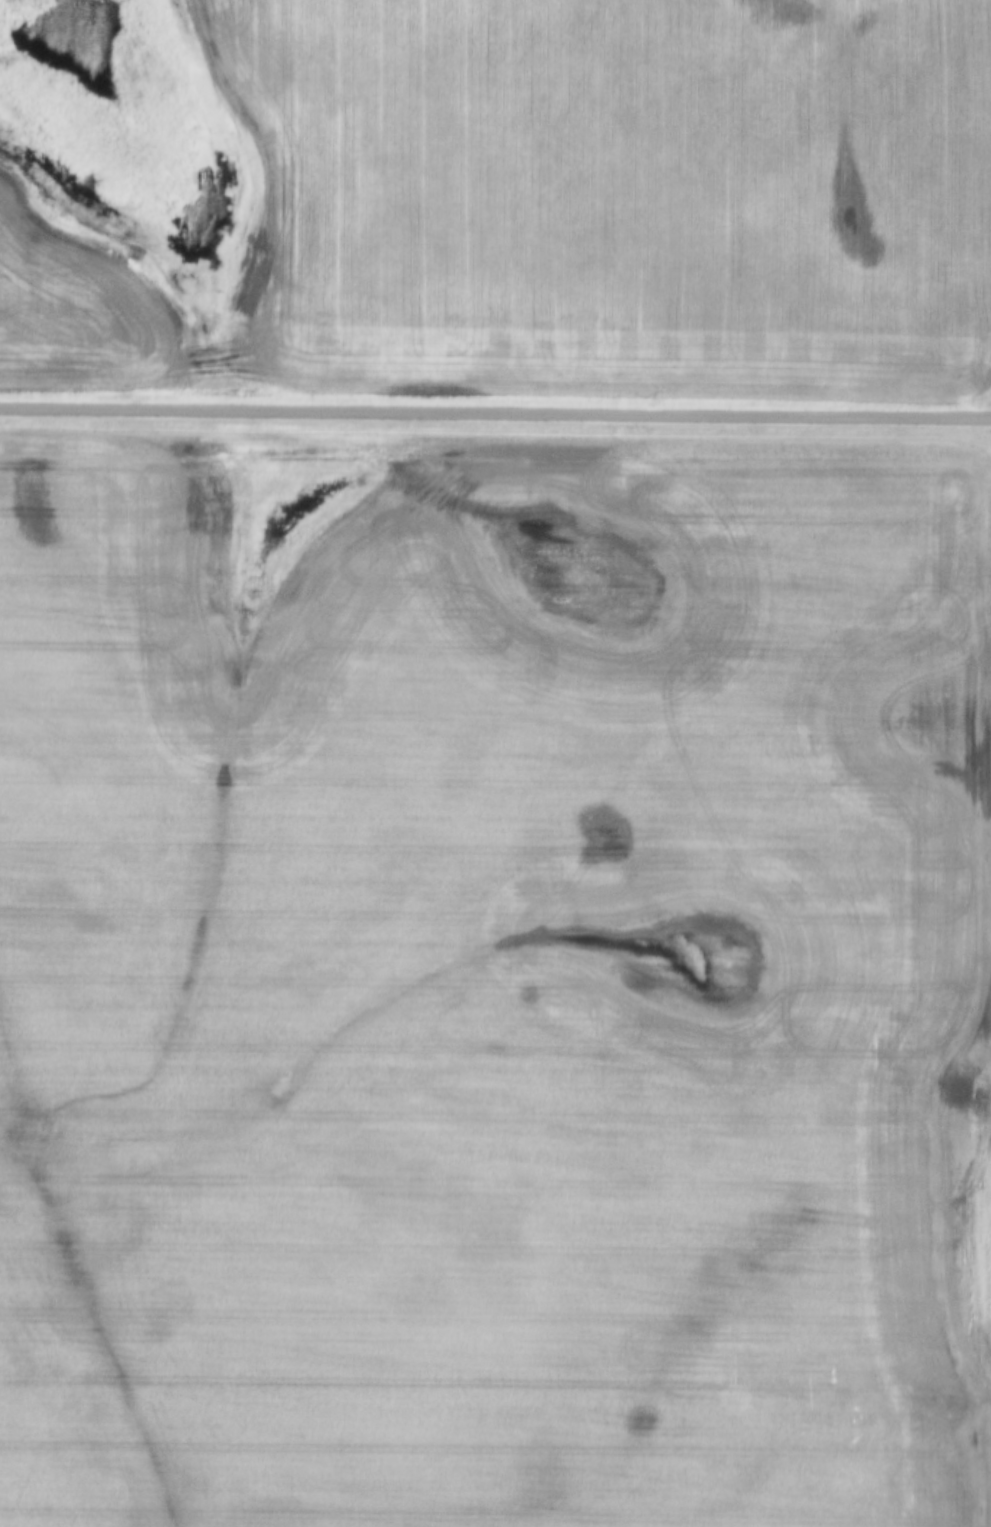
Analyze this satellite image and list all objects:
road: (495, 419)

